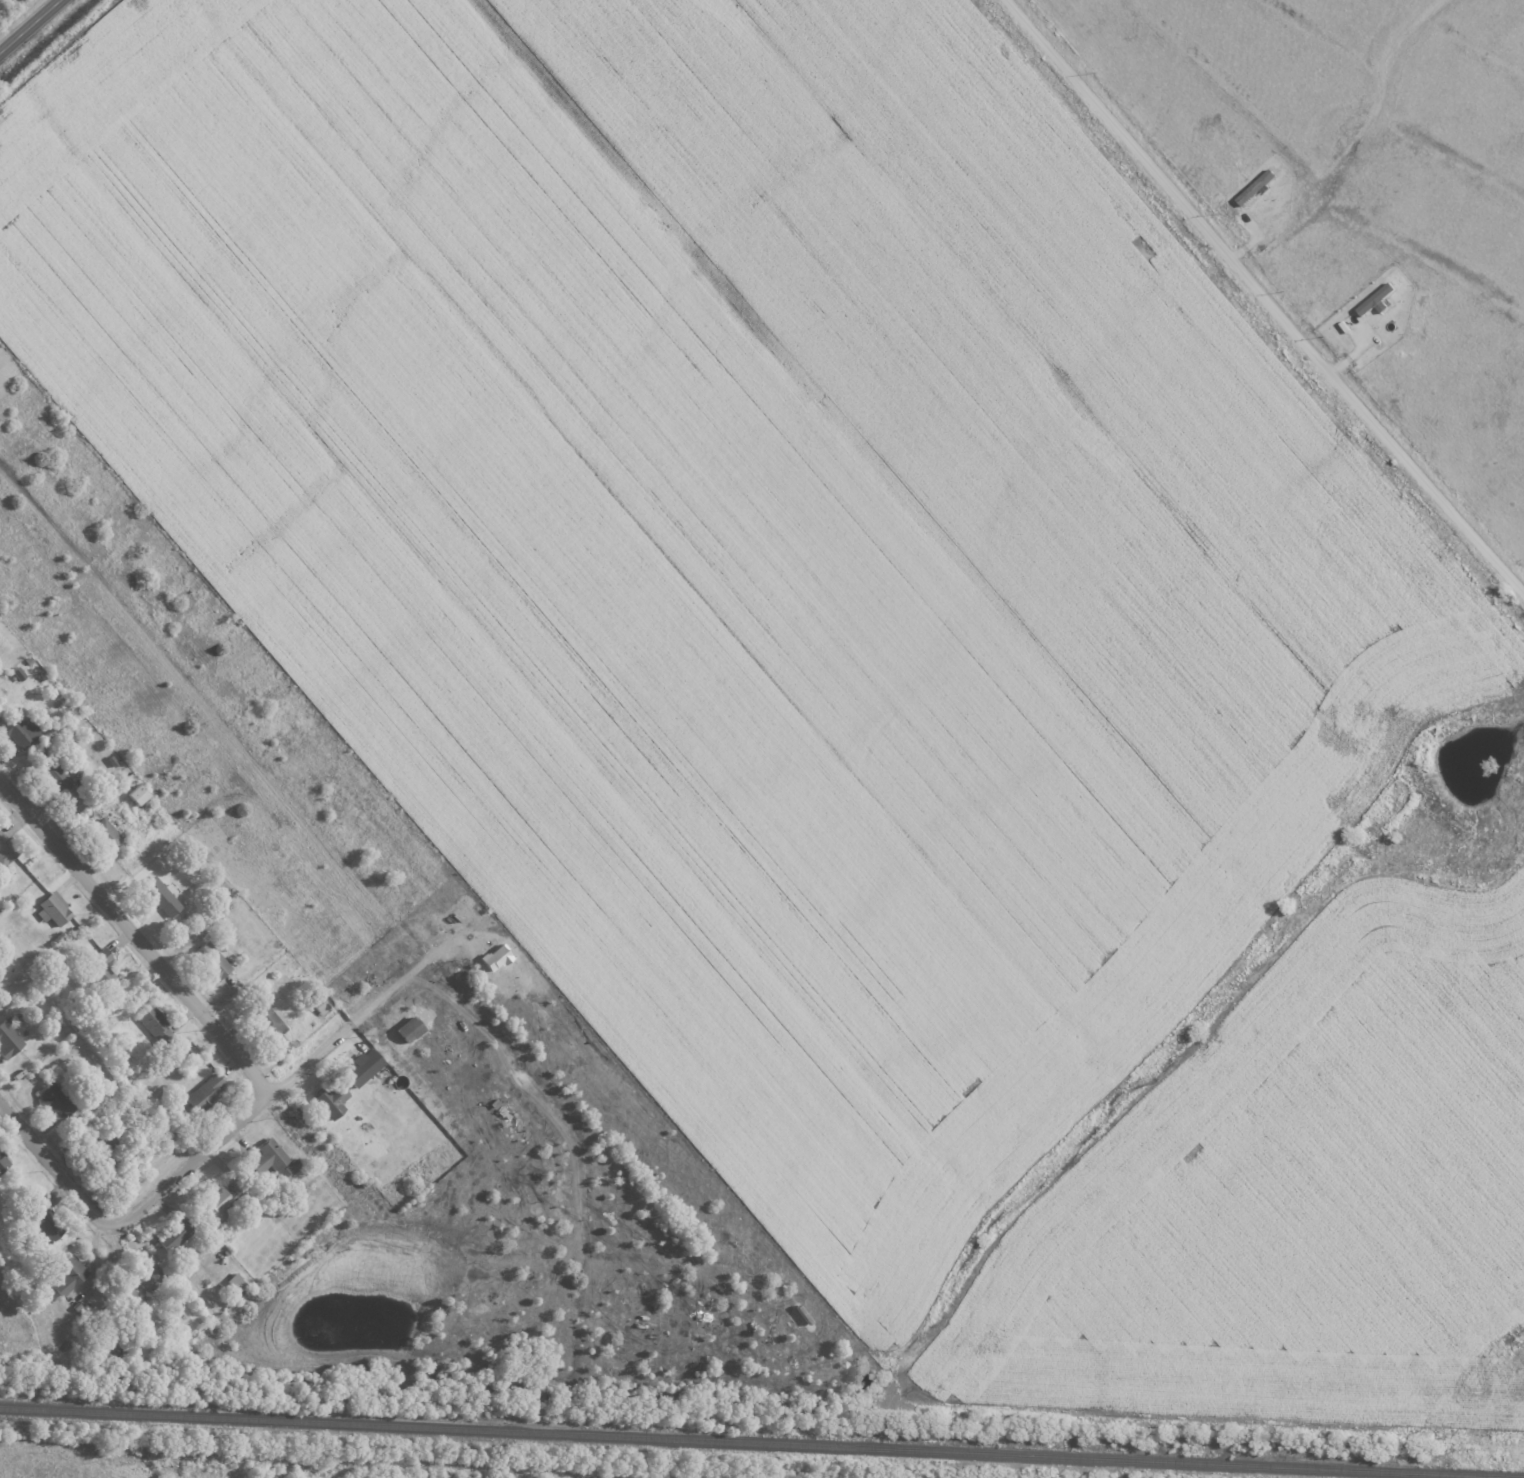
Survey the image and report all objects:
road: (31, 27)
road: (1266, 295)
building: (1373, 301)
building: (14, 672)
building: (18, 730)
building: (52, 778)
building: (133, 793)
building: (102, 833)
building: (159, 896)
building: (49, 908)
road: (135, 932)
building: (492, 957)
building: (209, 960)
building: (100, 965)
building: (316, 1004)
building: (266, 1020)
road: (352, 1021)
building: (150, 1023)
building: (404, 1029)
building: (7, 1038)
building: (358, 1067)
building: (201, 1091)
building: (48, 1098)
building: (328, 1100)
building: (266, 1156)
building: (2, 1161)
road: (194, 1161)
road: (57, 1166)
building: (290, 1166)
building: (210, 1204)
building: (40, 1230)
building: (171, 1236)
building: (66, 1274)
building: (148, 1277)
railway: (758, 1443)

